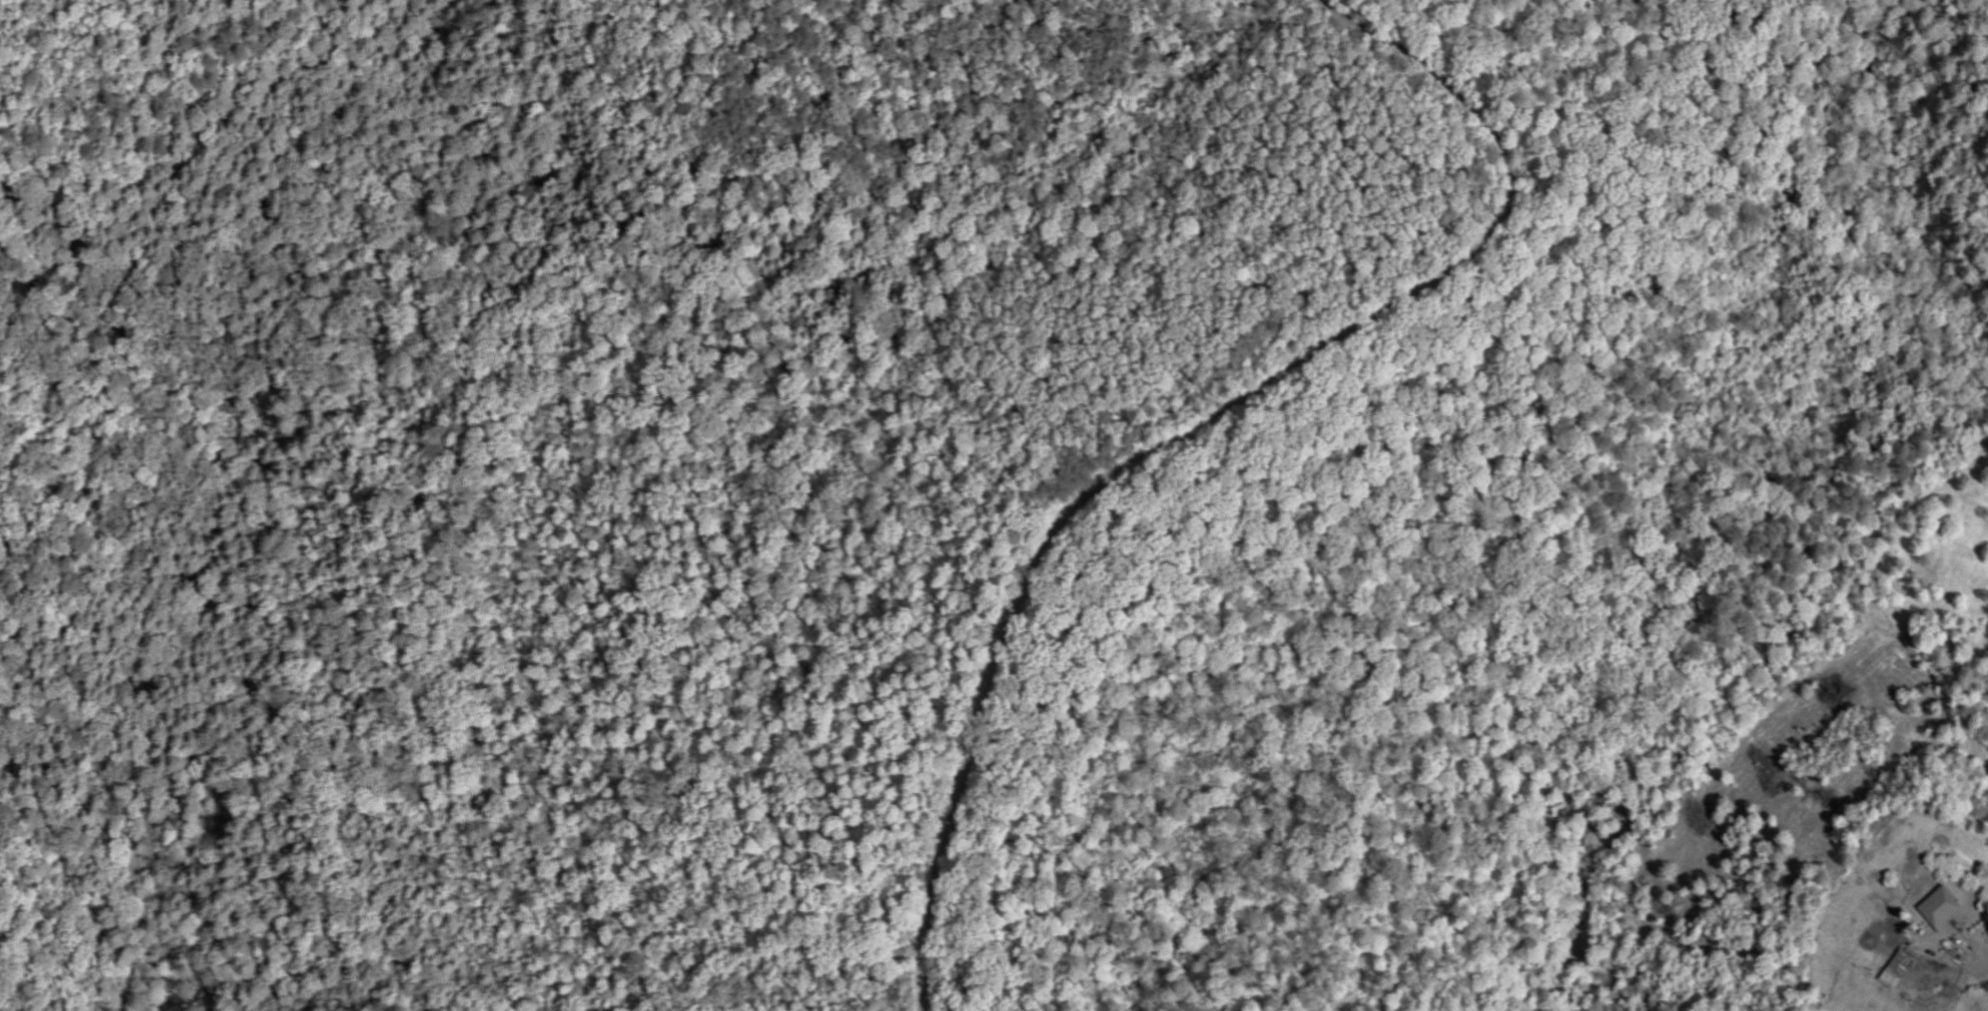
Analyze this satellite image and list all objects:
river: (255, 343)
road: (1202, 425)
building: (1947, 909)
building: (1906, 965)

